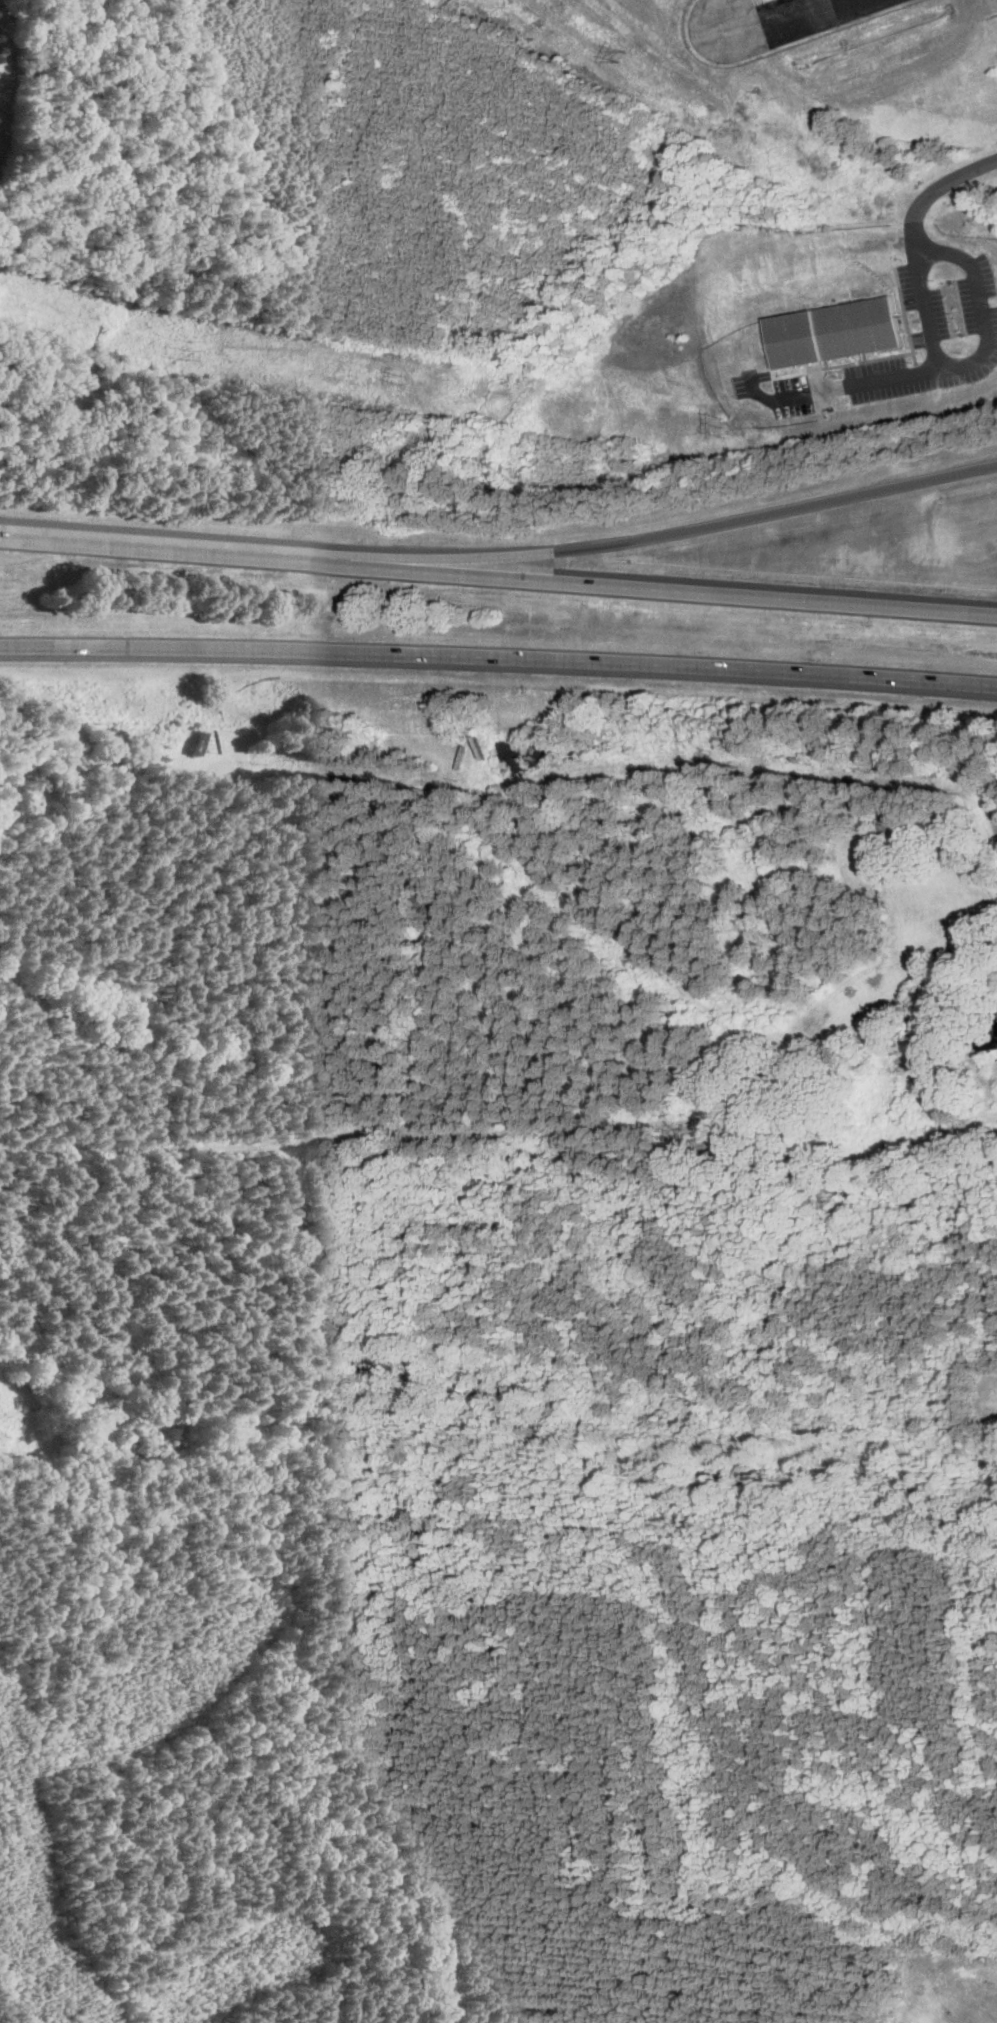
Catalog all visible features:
road: (794, 15)
road: (950, 181)
road: (923, 292)
building: (833, 332)
parking lot: (934, 336)
power tower: (190, 355)
road: (973, 358)
power tower: (405, 384)
power tower: (715, 426)
road: (672, 535)
road: (498, 575)
road: (376, 597)
road: (498, 656)
building: (961, 813)
building: (890, 828)
building: (969, 868)

